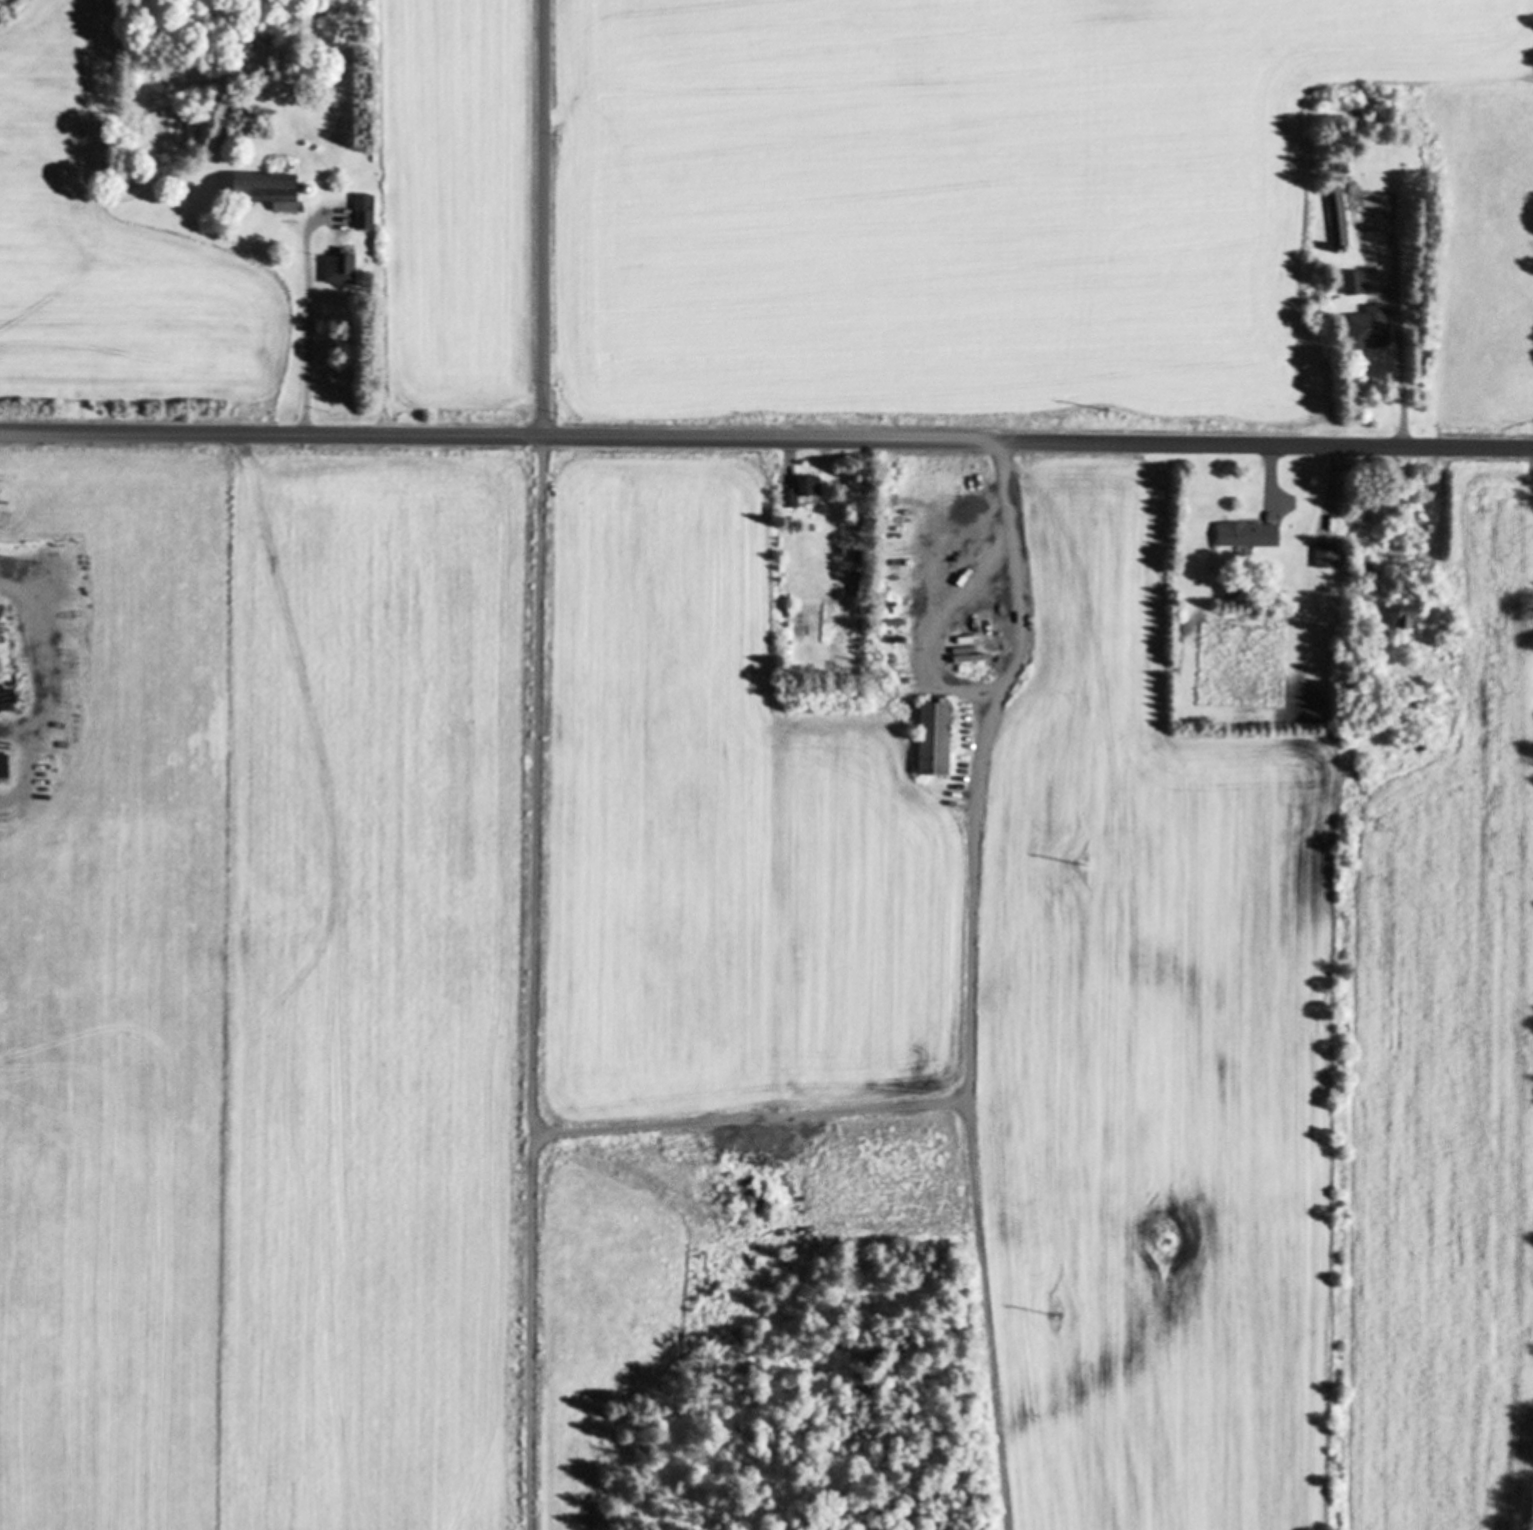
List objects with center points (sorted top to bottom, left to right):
building: (273, 190)
building: (366, 213)
road: (543, 218)
building: (1340, 220)
road: (1394, 258)
building: (342, 270)
road: (1369, 276)
building: (1357, 284)
road: (307, 321)
building: (1371, 329)
road: (1403, 380)
power tower: (1106, 409)
road: (766, 439)
road: (789, 455)
road: (1270, 474)
road: (1335, 476)
building: (812, 487)
road: (1442, 500)
building: (1251, 534)
building: (1329, 556)
road: (1023, 602)
building: (1412, 618)
building: (939, 739)
power tower: (1082, 867)
road: (533, 1006)
road: (968, 1105)
power tower: (1062, 1315)
road: (530, 1334)

